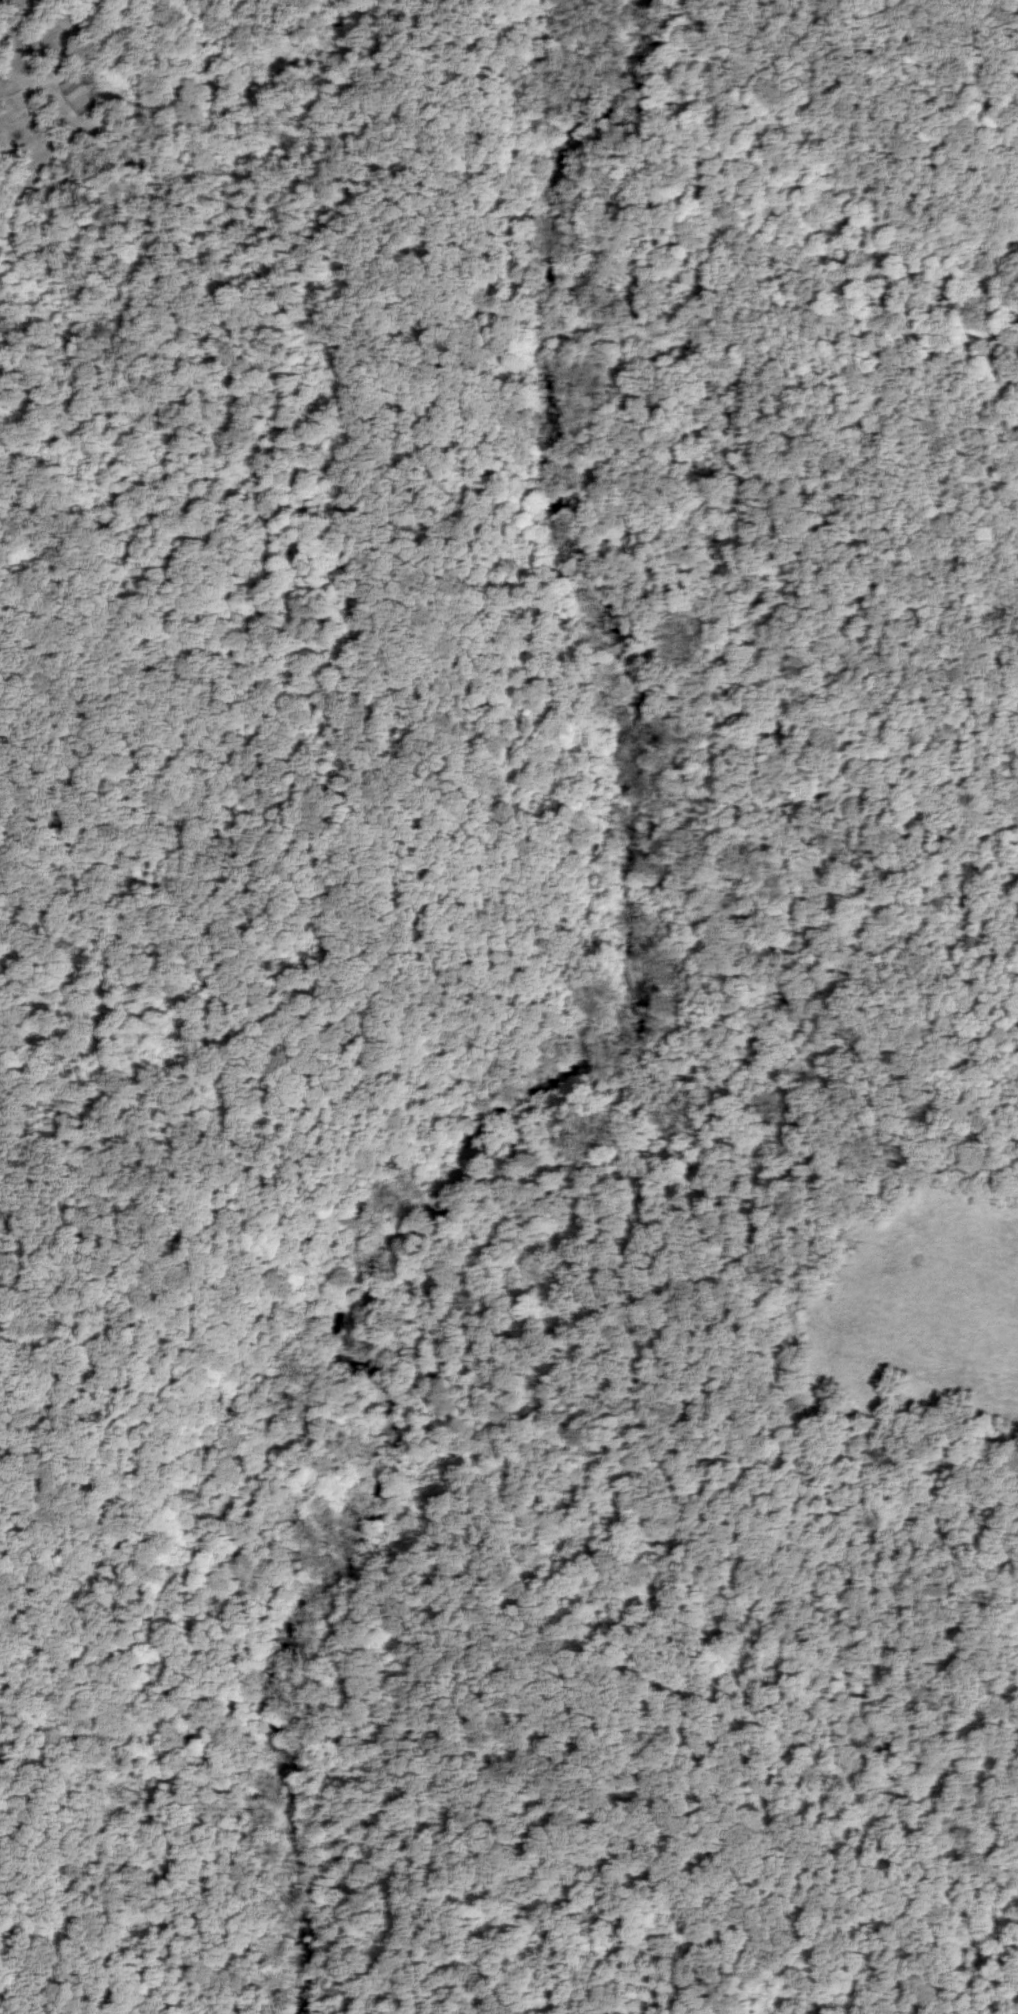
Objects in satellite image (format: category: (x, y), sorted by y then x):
road: (63, 56)
building: (84, 93)
building: (2, 102)

